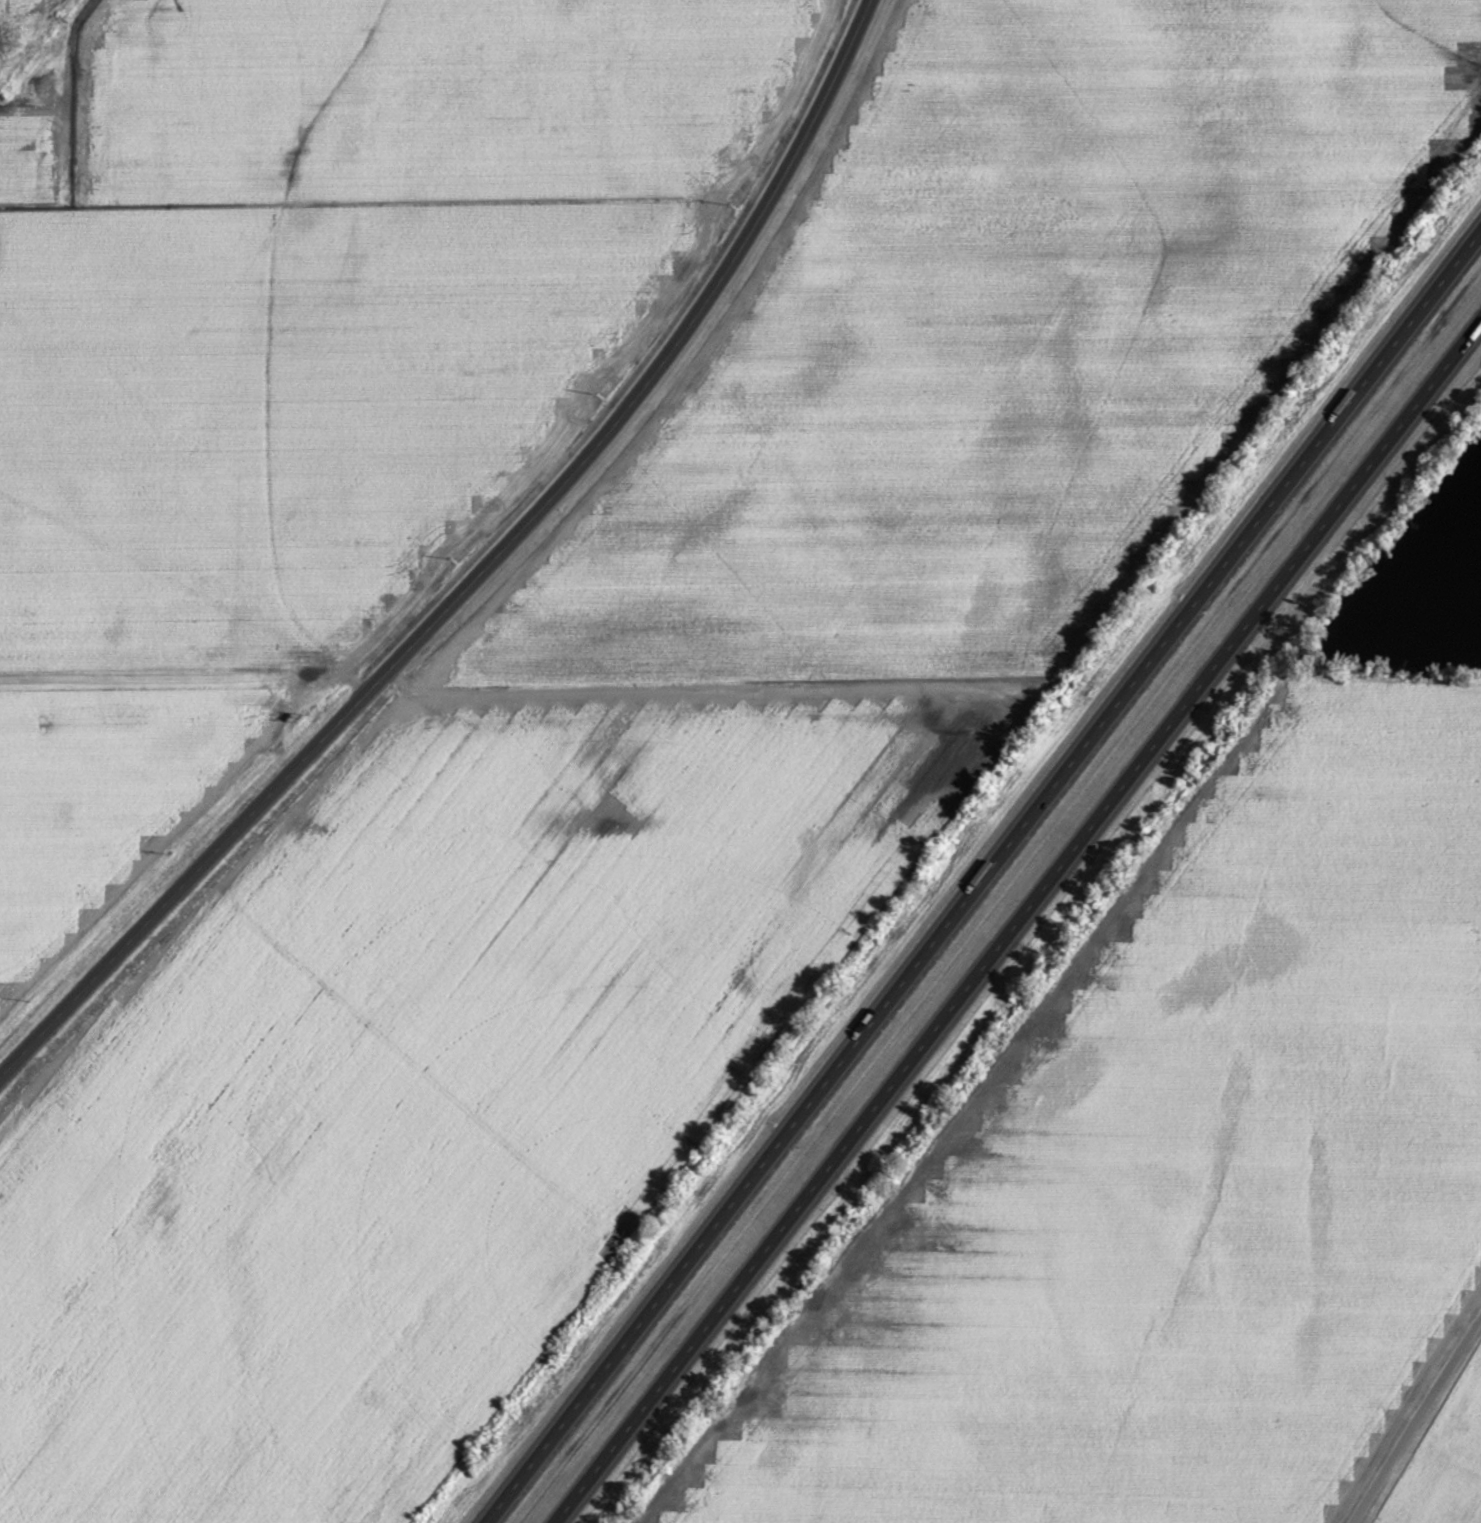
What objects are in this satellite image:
power tower: (12, 38)
road: (479, 573)
crop: (1419, 580)
road: (982, 875)
road: (1018, 922)
road: (1414, 1419)

